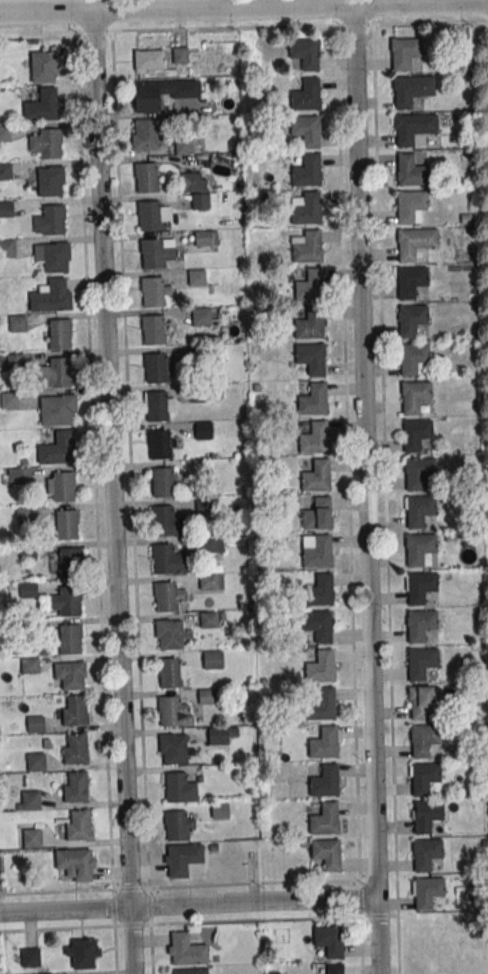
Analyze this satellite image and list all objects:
road: (244, 11)
building: (405, 52)
building: (305, 53)
building: (180, 55)
building: (149, 59)
building: (44, 66)
building: (408, 90)
building: (162, 93)
building: (306, 95)
building: (44, 105)
building: (409, 127)
building: (306, 130)
building: (146, 134)
building: (46, 142)
building: (307, 170)
building: (410, 170)
building: (5, 171)
building: (147, 177)
building: (50, 180)
building: (191, 181)
building: (411, 204)
building: (305, 207)
building: (5, 209)
building: (149, 215)
building: (50, 220)
building: (206, 238)
building: (412, 242)
building: (307, 245)
building: (7, 248)
building: (156, 252)
building: (53, 256)
building: (197, 277)
park: (482, 279)
building: (411, 281)
building: (311, 285)
building: (155, 291)
building: (52, 295)
building: (201, 316)
building: (412, 319)
building: (18, 323)
building: (311, 323)
building: (153, 329)
building: (59, 333)
building: (413, 357)
building: (311, 358)
building: (15, 361)
building: (158, 368)
building: (56, 372)
building: (415, 395)
building: (9, 399)
building: (313, 399)
building: (158, 406)
building: (58, 410)
building: (203, 430)
building: (416, 433)
building: (315, 438)
building: (160, 444)
building: (58, 448)
building: (421, 471)
building: (317, 475)
building: (20, 476)
building: (163, 482)
building: (61, 486)
road: (367, 491)
road: (112, 494)
building: (420, 509)
building: (25, 513)
building: (318, 514)
building: (166, 521)
building: (66, 524)
building: (212, 546)
building: (419, 547)
building: (317, 550)
building: (168, 560)
building: (69, 561)
building: (211, 581)
building: (421, 586)
building: (28, 590)
building: (320, 590)
building: (168, 596)
building: (67, 601)
building: (211, 619)
building: (420, 624)
building: (318, 625)
building: (169, 634)
building: (70, 638)
building: (213, 659)
building: (421, 661)
building: (31, 665)
building: (321, 666)
building: (172, 672)
building: (70, 675)
building: (207, 696)
building: (423, 700)
building: (323, 703)
building: (75, 710)
building: (174, 712)
building: (35, 723)
building: (220, 734)
building: (425, 739)
building: (325, 742)
building: (75, 748)
building: (173, 749)
building: (36, 761)
building: (424, 777)
building: (325, 780)
building: (75, 787)
building: (179, 788)
building: (29, 800)
building: (426, 814)
building: (325, 819)
building: (178, 824)
building: (79, 825)
building: (32, 837)
building: (425, 853)
building: (327, 854)
building: (75, 863)
building: (427, 892)
road: (187, 910)
building: (329, 940)
building: (186, 950)
building: (82, 952)
building: (31, 957)
building: (335, 968)
building: (189, 971)

